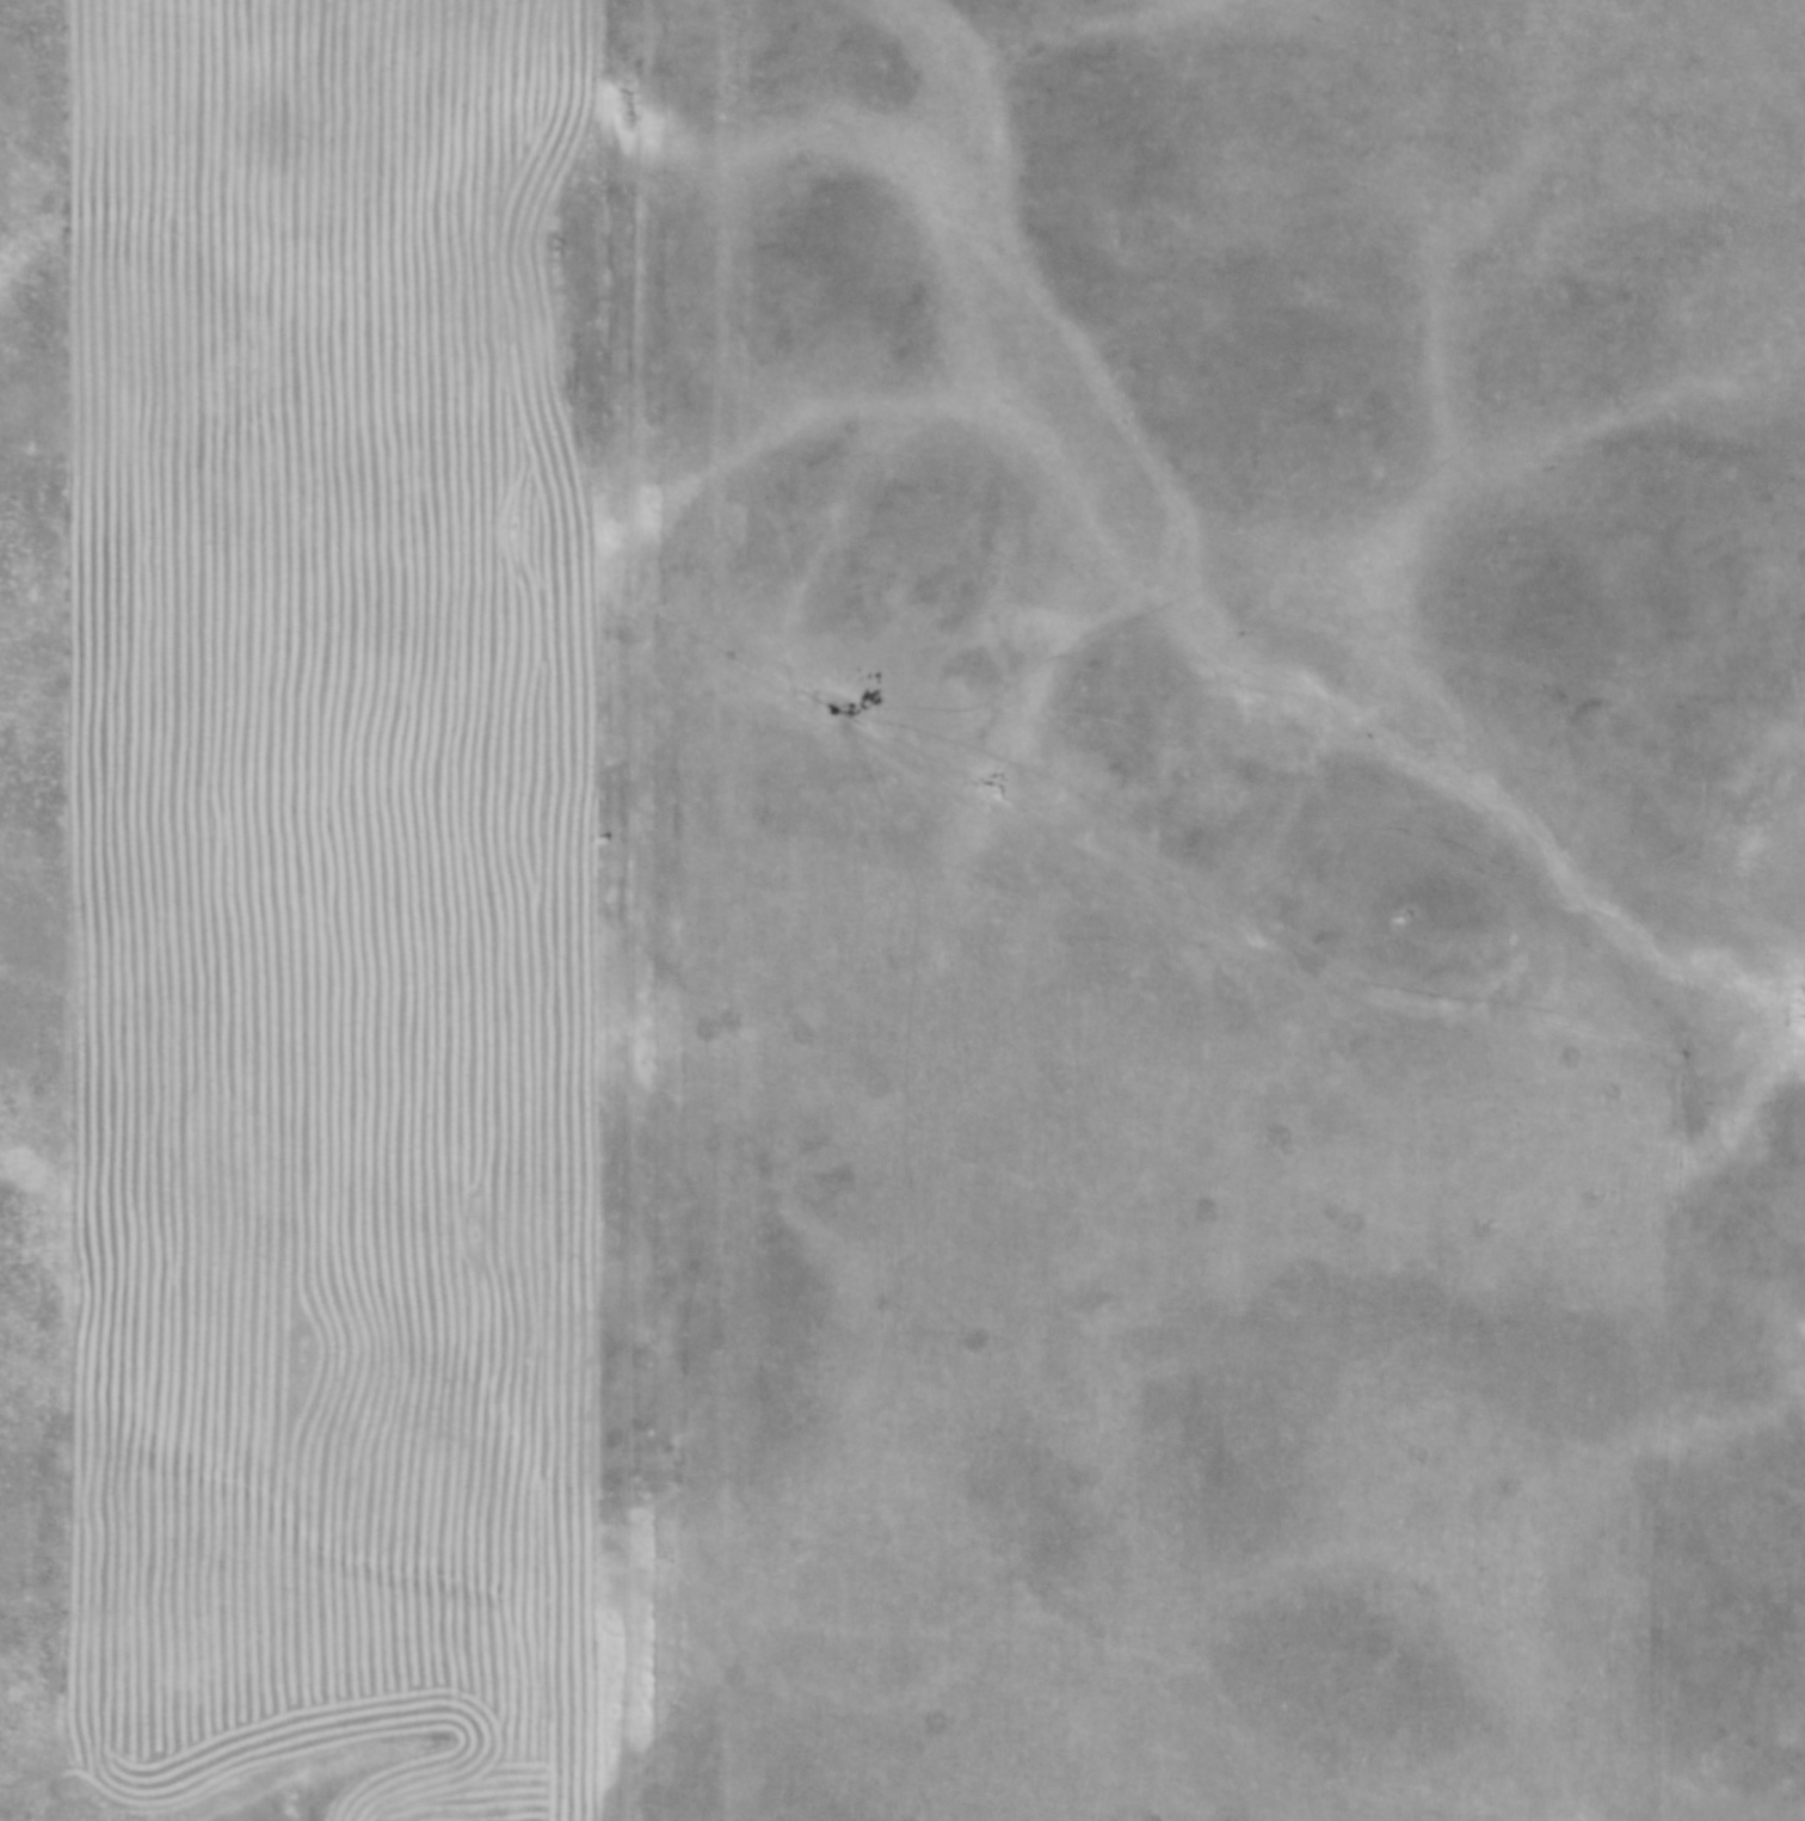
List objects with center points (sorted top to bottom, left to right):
road: (72, 657)
road: (617, 910)

